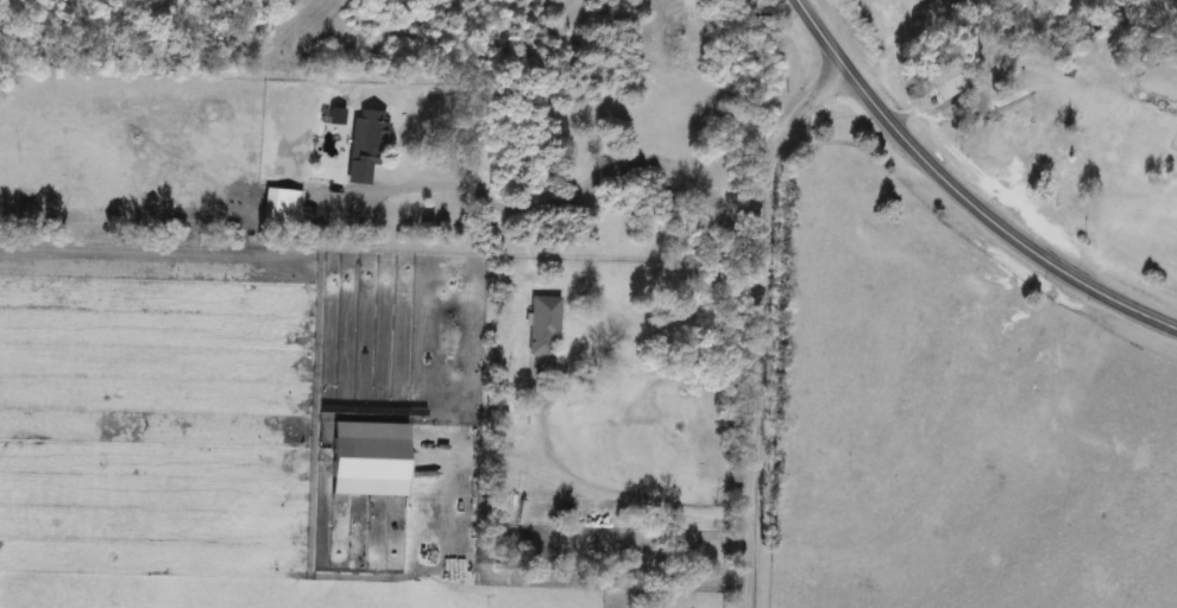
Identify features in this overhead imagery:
building: (939, 80)
building: (369, 135)
road: (963, 192)
building: (282, 204)
road: (558, 204)
building: (541, 324)
road: (760, 324)
road: (605, 495)

